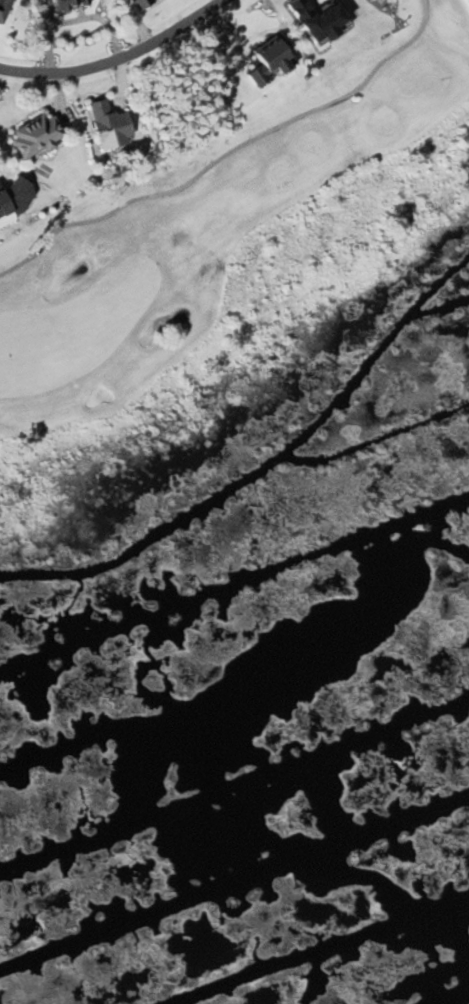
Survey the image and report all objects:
building: (72, 2)
building: (5, 10)
road: (117, 56)
building: (271, 61)
building: (111, 124)
building: (36, 134)
road: (227, 152)
building: (15, 198)

